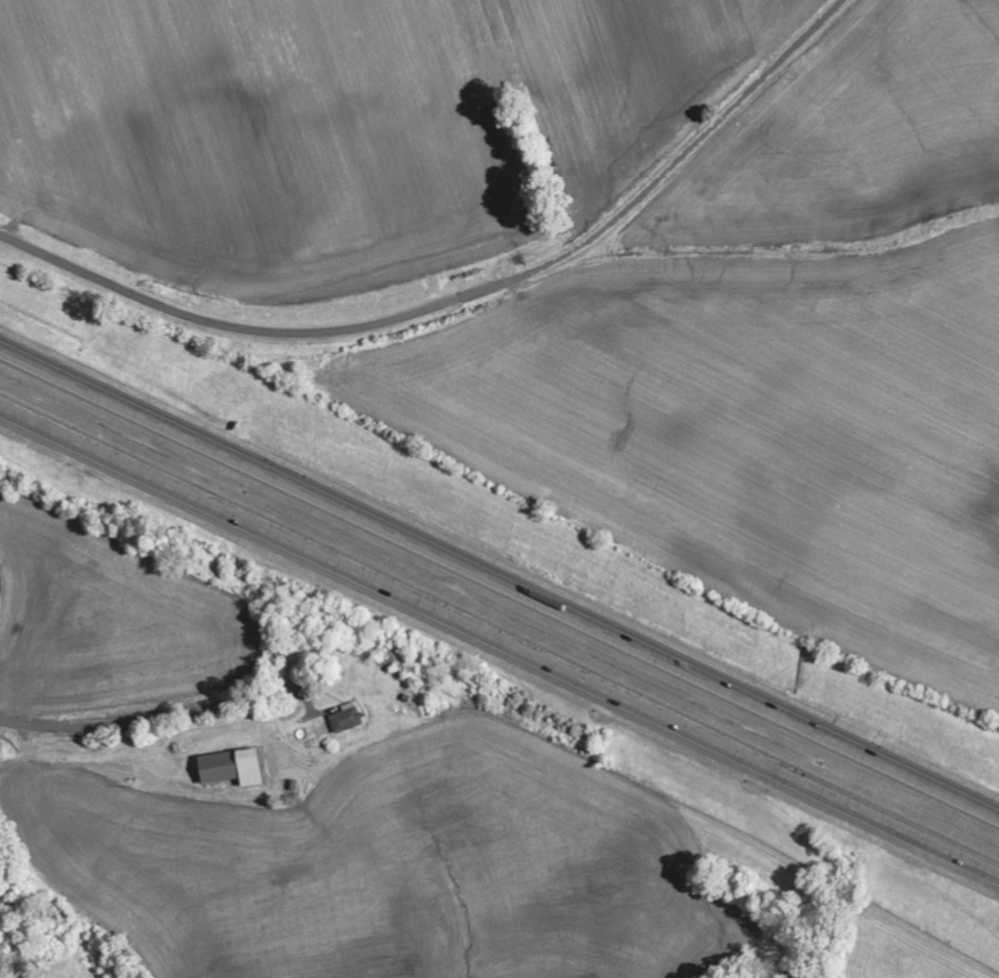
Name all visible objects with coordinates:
road: (464, 297)
road: (499, 585)
road: (498, 646)
road: (146, 718)
building: (348, 720)
building: (234, 769)

